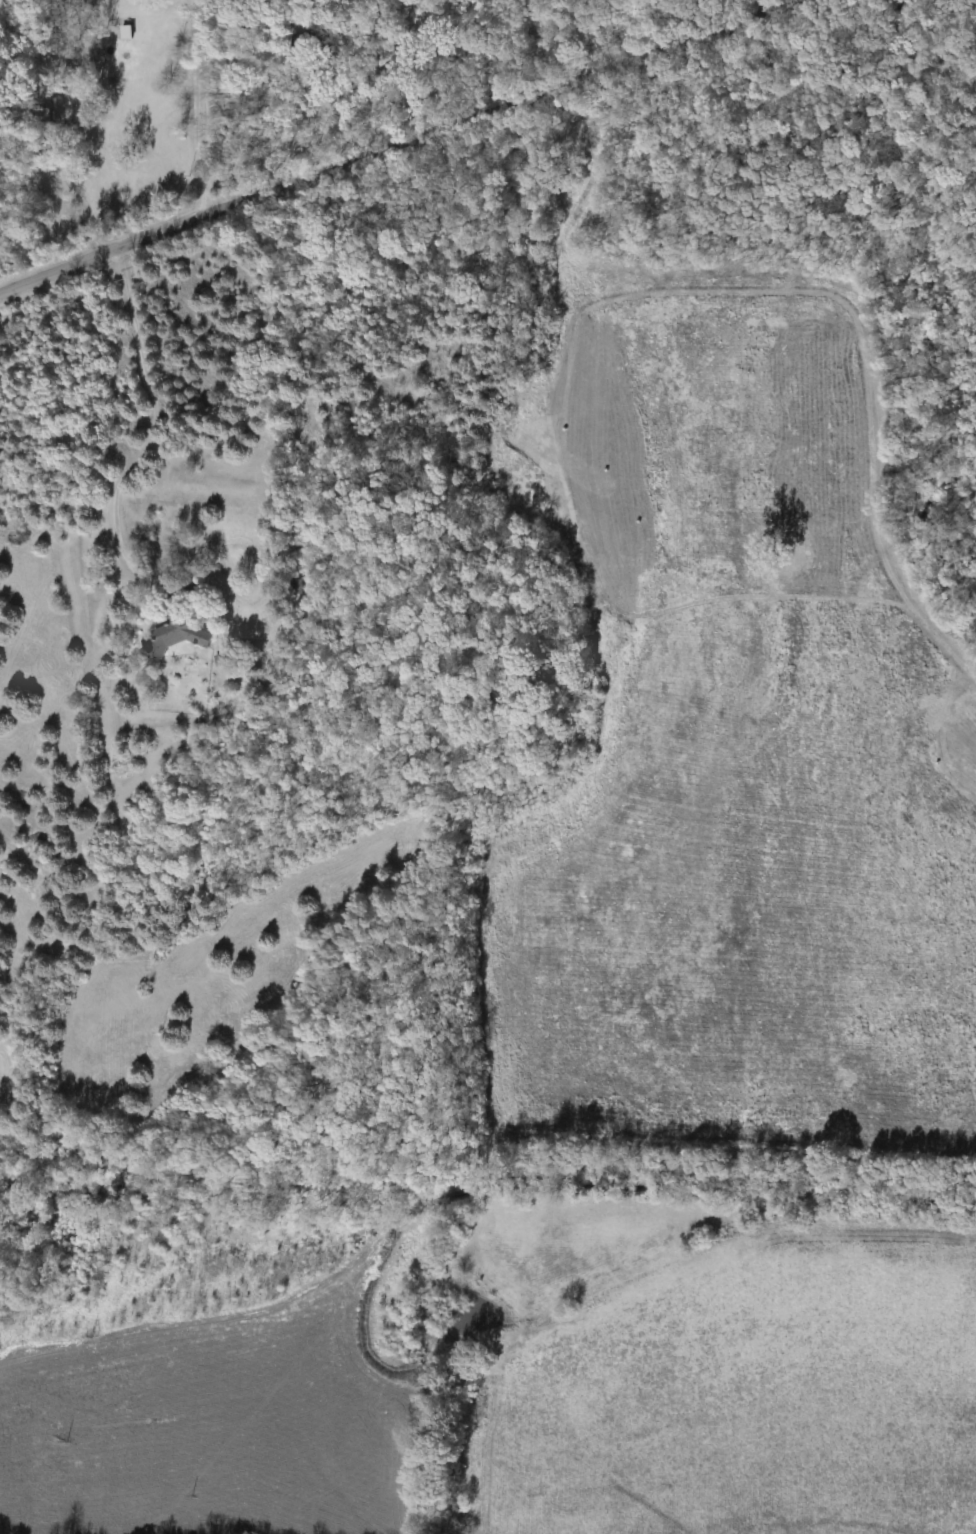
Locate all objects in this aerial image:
road: (199, 105)
road: (393, 143)
road: (78, 190)
road: (150, 426)
building: (176, 621)

